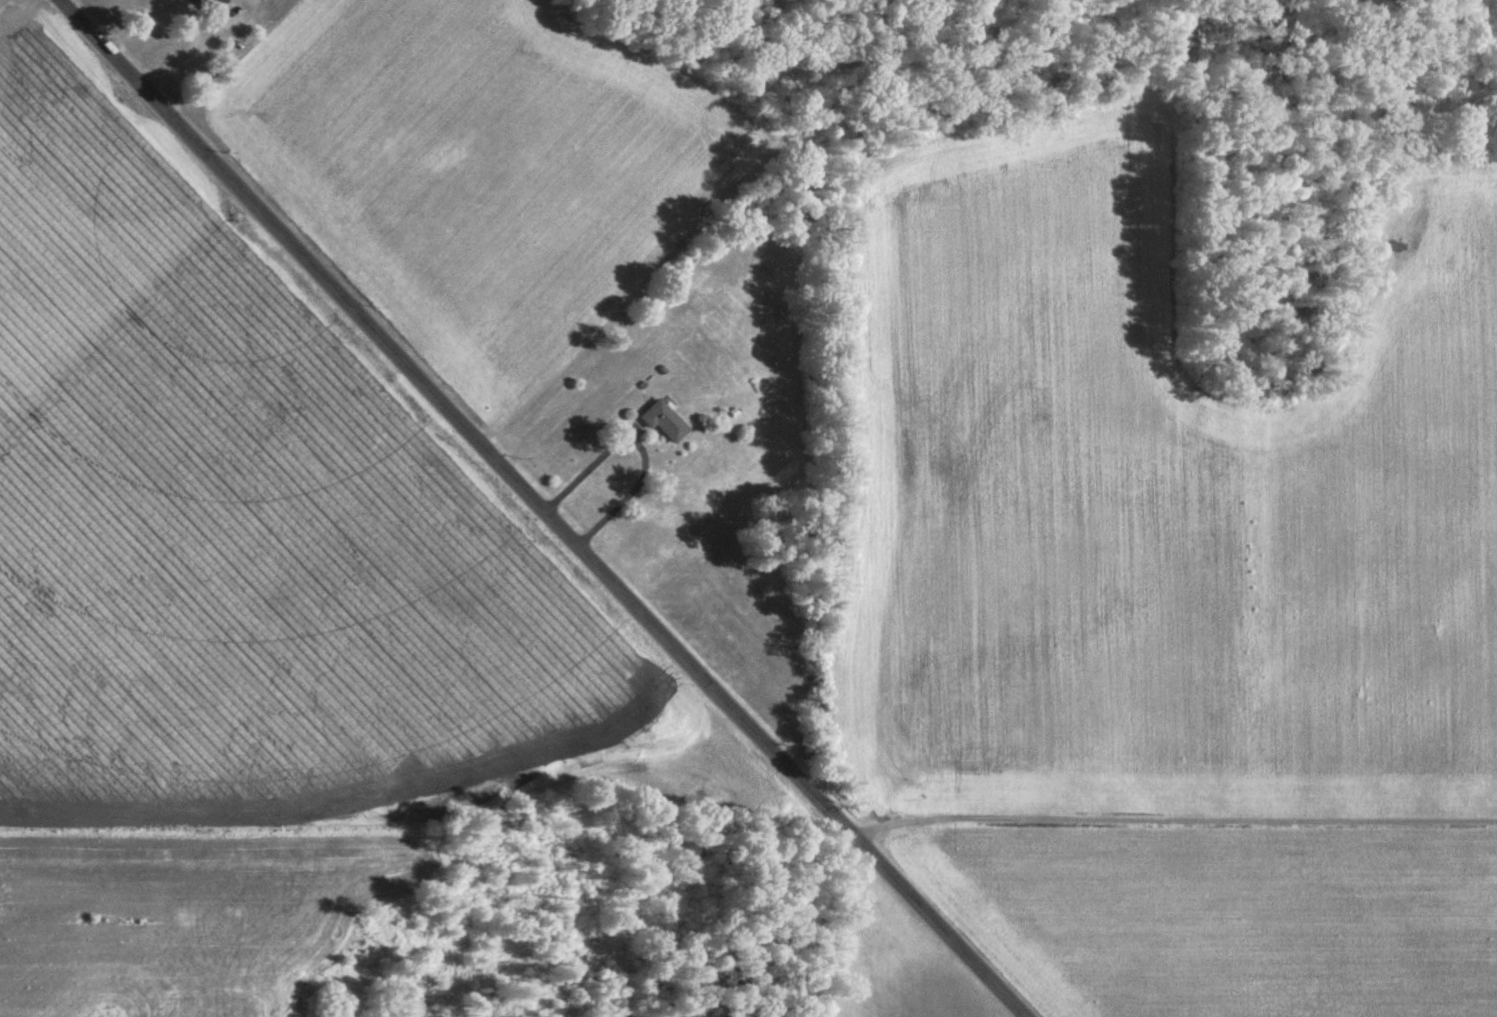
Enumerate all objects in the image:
building: (199, 8)
building: (661, 422)
road: (545, 508)

